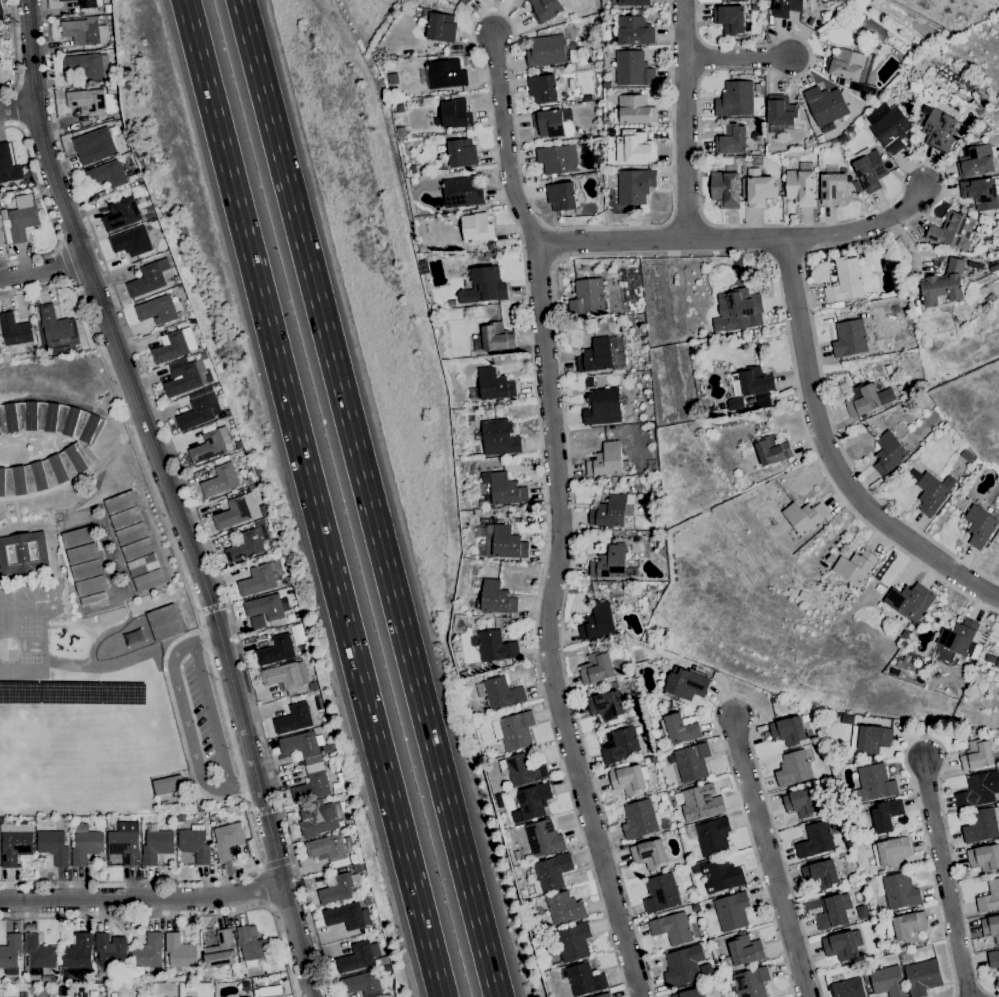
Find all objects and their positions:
building: (65, 0)
building: (464, 1)
building: (633, 2)
building: (90, 4)
building: (767, 4)
building: (614, 6)
building: (785, 7)
building: (1, 8)
building: (545, 9)
building: (0, 15)
building: (729, 19)
building: (810, 21)
building: (440, 27)
building: (872, 28)
building: (633, 30)
building: (83, 31)
road: (13, 50)
building: (546, 50)
building: (906, 61)
building: (84, 65)
road: (742, 65)
building: (420, 67)
building: (633, 69)
building: (852, 70)
building: (445, 73)
building: (606, 84)
building: (543, 88)
building: (111, 89)
building: (735, 99)
building: (91, 101)
building: (825, 105)
building: (975, 105)
road: (15, 106)
road: (17, 106)
building: (633, 110)
building: (780, 111)
building: (452, 115)
building: (469, 118)
road: (691, 120)
building: (553, 122)
building: (891, 129)
building: (940, 130)
building: (820, 138)
building: (731, 140)
road: (512, 142)
building: (94, 146)
building: (634, 147)
building: (440, 148)
building: (461, 153)
building: (557, 159)
building: (975, 160)
building: (8, 165)
building: (868, 169)
building: (107, 174)
building: (634, 185)
building: (800, 187)
building: (759, 188)
building: (833, 188)
building: (725, 189)
road: (900, 189)
building: (461, 192)
building: (981, 193)
building: (561, 197)
road: (45, 204)
building: (148, 208)
building: (123, 212)
road: (510, 215)
building: (19, 219)
building: (476, 227)
building: (952, 230)
building: (1, 237)
road: (904, 239)
road: (744, 240)
building: (131, 241)
building: (490, 247)
building: (489, 255)
building: (989, 255)
building: (737, 262)
building: (974, 265)
road: (62, 266)
building: (994, 267)
road: (42, 271)
building: (148, 278)
building: (845, 281)
building: (483, 286)
building: (944, 286)
building: (984, 288)
building: (588, 297)
building: (990, 297)
road: (553, 302)
building: (451, 303)
building: (478, 304)
building: (838, 304)
building: (157, 309)
building: (738, 310)
building: (906, 310)
building: (179, 314)
building: (57, 328)
building: (14, 330)
building: (496, 337)
building: (849, 338)
building: (173, 345)
building: (203, 355)
building: (596, 356)
building: (4, 358)
building: (184, 377)
building: (495, 385)
building: (753, 386)
building: (867, 399)
building: (736, 400)
building: (602, 407)
building: (198, 409)
building: (222, 415)
building: (864, 417)
building: (50, 419)
building: (499, 437)
building: (529, 438)
road: (150, 442)
building: (208, 447)
building: (772, 450)
building: (889, 453)
road: (831, 456)
building: (606, 460)
building: (493, 464)
building: (44, 472)
building: (914, 475)
building: (220, 480)
building: (506, 489)
building: (934, 492)
road: (189, 496)
road: (313, 498)
road: (367, 498)
building: (120, 502)
building: (263, 510)
building: (236, 511)
building: (609, 511)
building: (804, 516)
building: (125, 517)
building: (926, 522)
building: (980, 526)
building: (132, 533)
building: (77, 536)
building: (503, 542)
building: (248, 543)
building: (274, 546)
building: (137, 549)
building: (23, 553)
building: (82, 553)
building: (609, 562)
building: (143, 564)
building: (854, 567)
building: (86, 569)
building: (261, 578)
building: (149, 580)
building: (477, 583)
building: (91, 585)
building: (879, 588)
building: (93, 598)
building: (496, 598)
building: (909, 600)
building: (266, 607)
building: (487, 614)
building: (165, 622)
building: (257, 622)
building: (598, 622)
road: (555, 625)
building: (962, 638)
building: (495, 647)
building: (276, 650)
building: (638, 656)
building: (989, 658)
road: (207, 661)
building: (971, 661)
building: (997, 662)
building: (596, 668)
building: (464, 674)
building: (285, 676)
building: (685, 683)
building: (313, 685)
building: (500, 693)
road: (733, 695)
building: (318, 703)
building: (606, 705)
road: (210, 714)
parking lot: (199, 719)
building: (293, 719)
building: (856, 719)
road: (185, 721)
building: (679, 728)
building: (514, 730)
building: (788, 730)
road: (927, 737)
building: (871, 739)
building: (302, 746)
building: (620, 746)
building: (327, 748)
building: (976, 754)
building: (594, 757)
building: (671, 761)
building: (692, 762)
building: (522, 769)
building: (793, 769)
building: (628, 778)
building: (872, 784)
building: (169, 785)
building: (312, 787)
building: (978, 789)
building: (338, 790)
building: (662, 797)
building: (531, 802)
building: (701, 802)
building: (802, 802)
building: (165, 804)
building: (886, 815)
building: (317, 818)
building: (639, 819)
building: (348, 822)
building: (666, 824)
building: (981, 824)
building: (15, 827)
building: (710, 836)
building: (543, 838)
building: (227, 840)
building: (815, 840)
building: (125, 842)
building: (14, 843)
building: (195, 843)
building: (86, 844)
building: (154, 844)
building: (53, 846)
building: (332, 850)
building: (891, 851)
building: (649, 854)
building: (517, 855)
building: (984, 858)
road: (774, 861)
road: (276, 863)
building: (359, 867)
building: (695, 869)
building: (880, 872)
building: (551, 873)
building: (820, 874)
building: (721, 875)
road: (946, 877)
road: (260, 887)
building: (340, 888)
building: (731, 891)
building: (900, 891)
building: (661, 894)
building: (989, 897)
building: (882, 898)
road: (142, 900)
building: (367, 900)
road: (287, 905)
building: (564, 908)
building: (732, 911)
building: (834, 911)
road: (181, 915)
building: (864, 915)
building: (347, 916)
building: (906, 926)
building: (991, 927)
building: (672, 928)
road: (297, 941)
building: (573, 941)
building: (842, 944)
building: (252, 945)
building: (908, 946)
building: (110, 950)
building: (221, 950)
building: (10, 951)
building: (148, 951)
building: (180, 951)
building: (743, 951)
building: (78, 953)
building: (39, 954)
building: (357, 957)
building: (993, 959)
building: (384, 961)
building: (683, 965)
building: (385, 968)
building: (922, 977)
building: (585, 979)
building: (887, 981)
building: (751, 982)
building: (362, 984)
building: (245, 985)
building: (847, 988)
building: (148, 990)
building: (269, 991)
building: (42, 992)
building: (691, 993)
building: (603, 995)
building: (247, 996)

